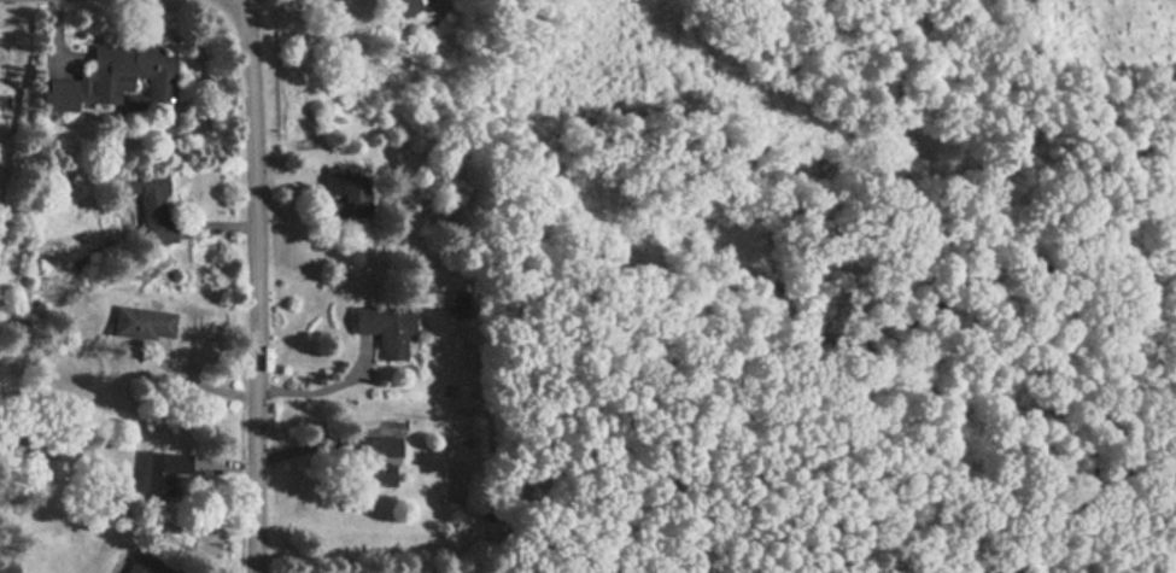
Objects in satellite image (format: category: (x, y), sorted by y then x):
building: (374, 1)
building: (402, 6)
building: (130, 75)
building: (53, 97)
road: (286, 182)
building: (343, 192)
building: (151, 209)
road: (253, 286)
building: (455, 306)
building: (138, 324)
building: (384, 329)
road: (327, 387)
road: (327, 440)
building: (371, 461)
building: (162, 472)
building: (486, 514)
building: (138, 562)

